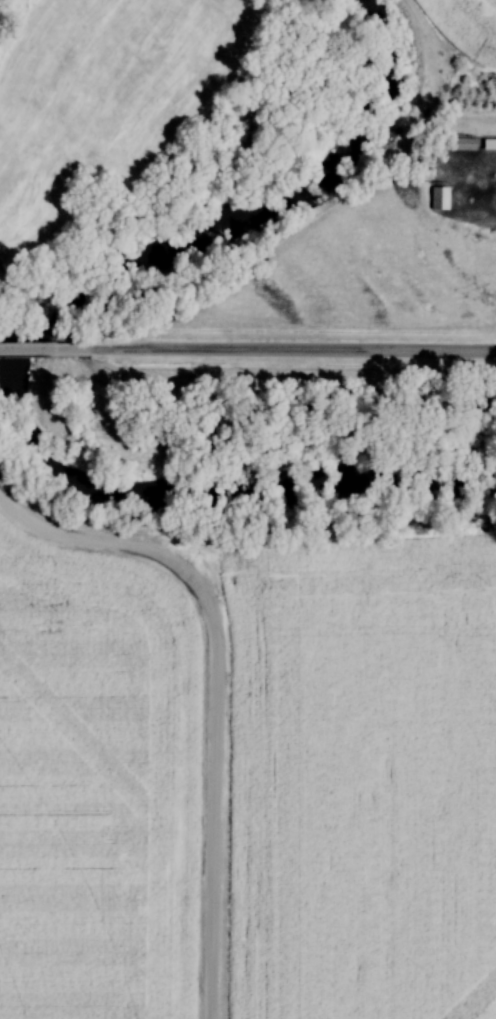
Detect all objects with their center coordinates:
building: (460, 144)
building: (487, 146)
building: (437, 197)
road: (48, 351)
road: (297, 352)
river: (29, 365)
road: (214, 688)
crop: (364, 783)

